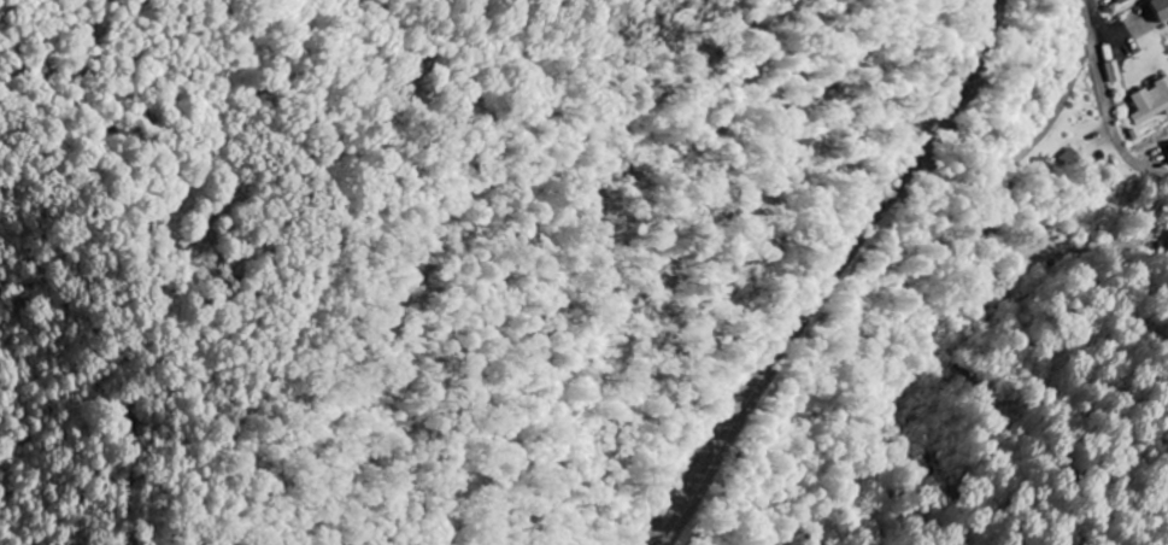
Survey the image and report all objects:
building: (1126, 2)
building: (1163, 10)
road: (1107, 99)
building: (1151, 104)
road: (1121, 250)
road: (832, 274)

